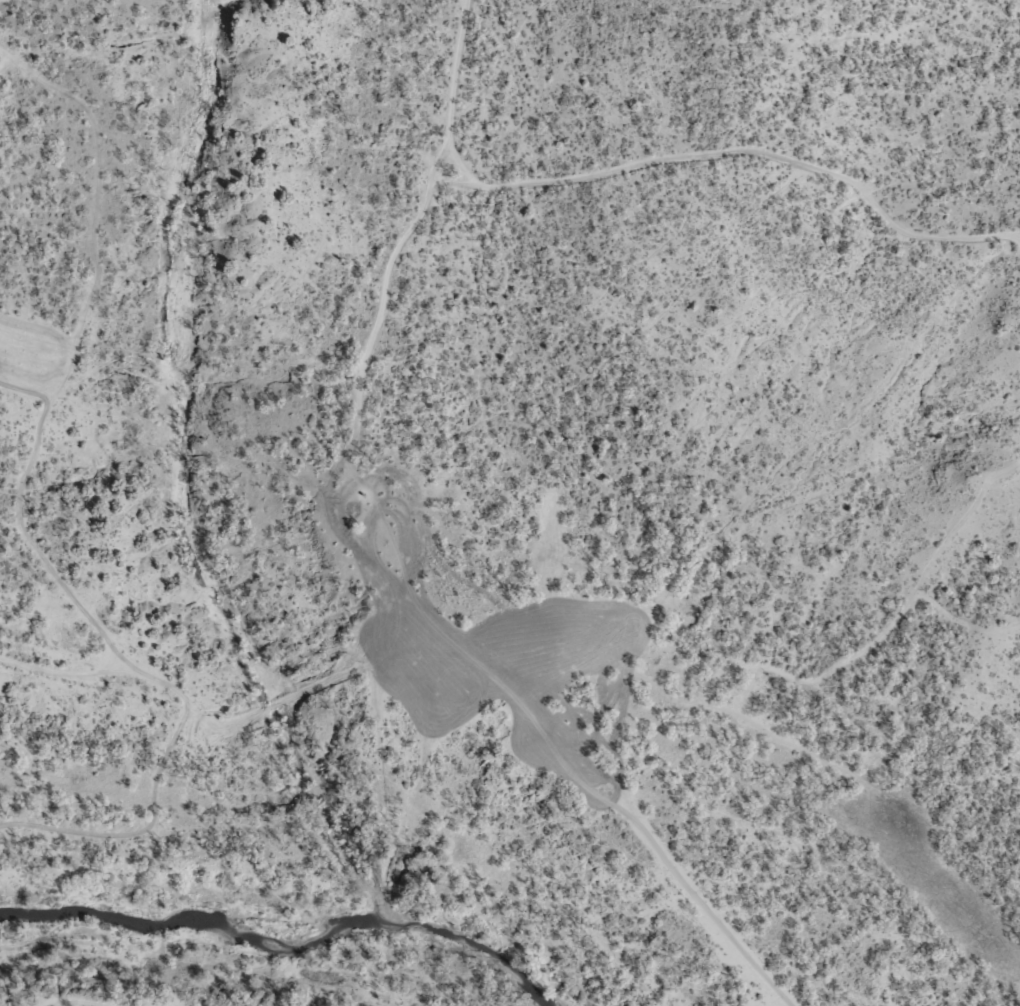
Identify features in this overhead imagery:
river: (293, 933)

